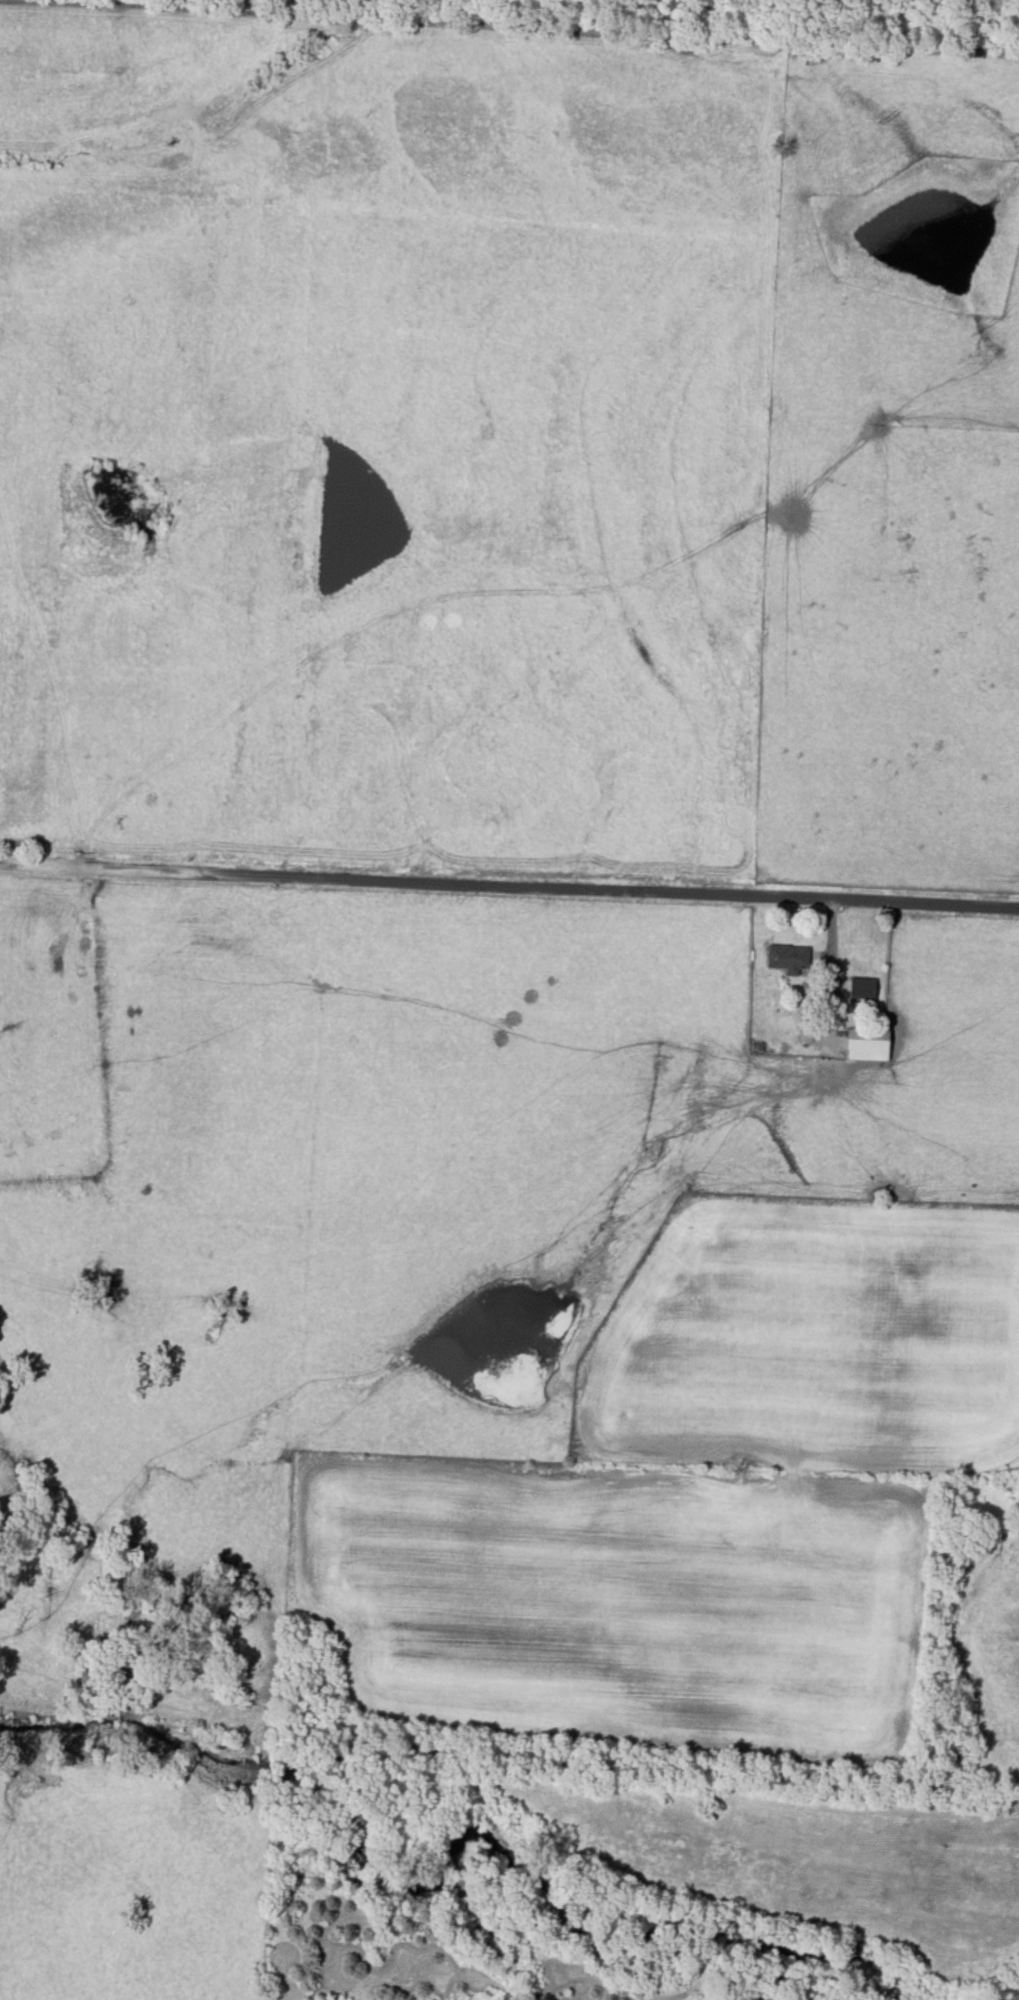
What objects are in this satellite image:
road: (509, 876)
building: (787, 958)
building: (861, 987)
building: (867, 1044)
crop: (693, 1502)

